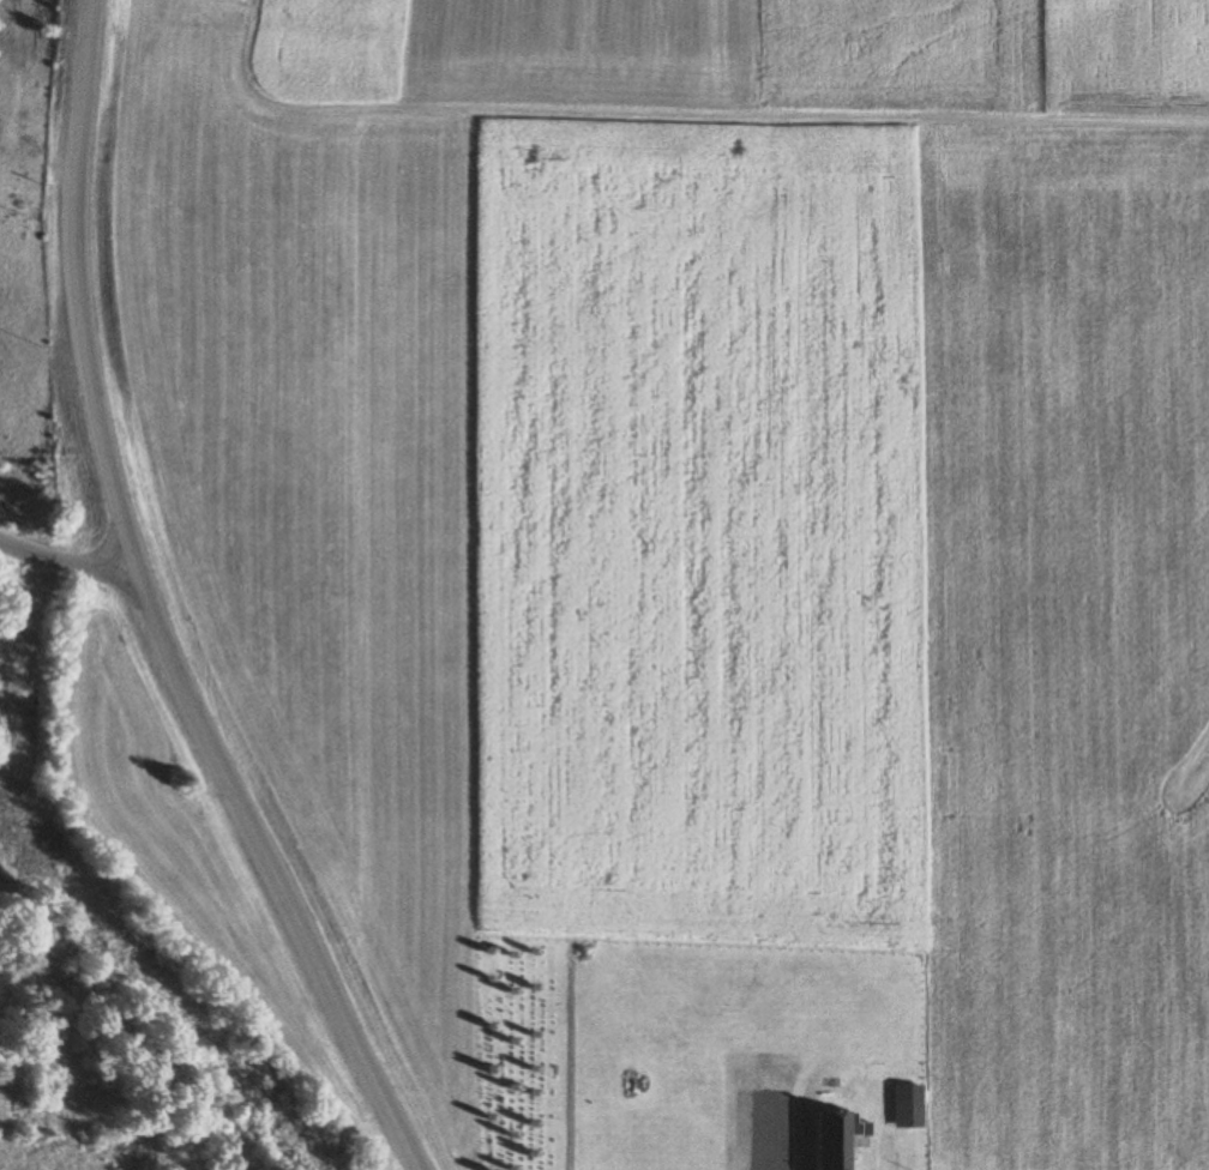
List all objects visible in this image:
road: (65, 563)
road: (148, 611)
park: (521, 1054)
road: (566, 1063)
building: (907, 1096)
building: (915, 1120)
road: (772, 1132)
building: (831, 1141)

